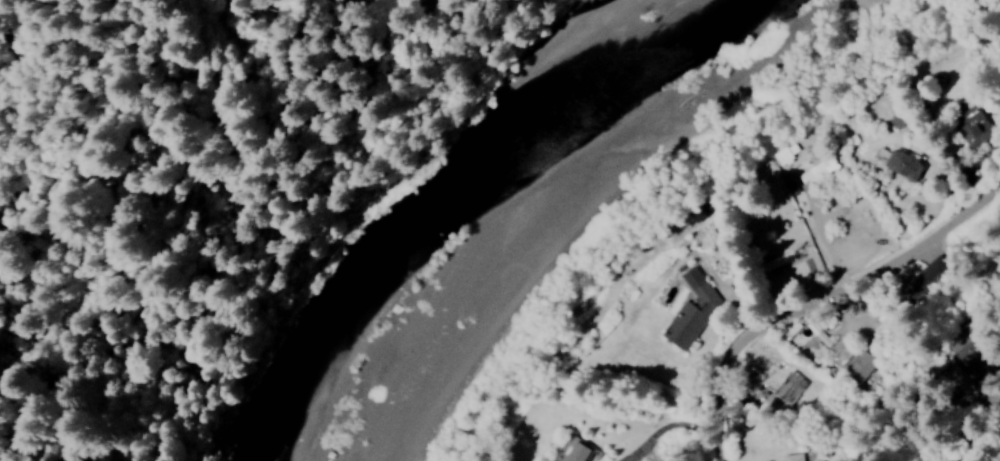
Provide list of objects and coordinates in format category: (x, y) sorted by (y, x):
building: (973, 129)
building: (788, 154)
building: (906, 164)
building: (820, 170)
road: (184, 178)
river: (439, 197)
road: (806, 281)
building: (693, 307)
building: (982, 364)
building: (791, 388)
building: (574, 451)
building: (794, 457)
road: (582, 459)

